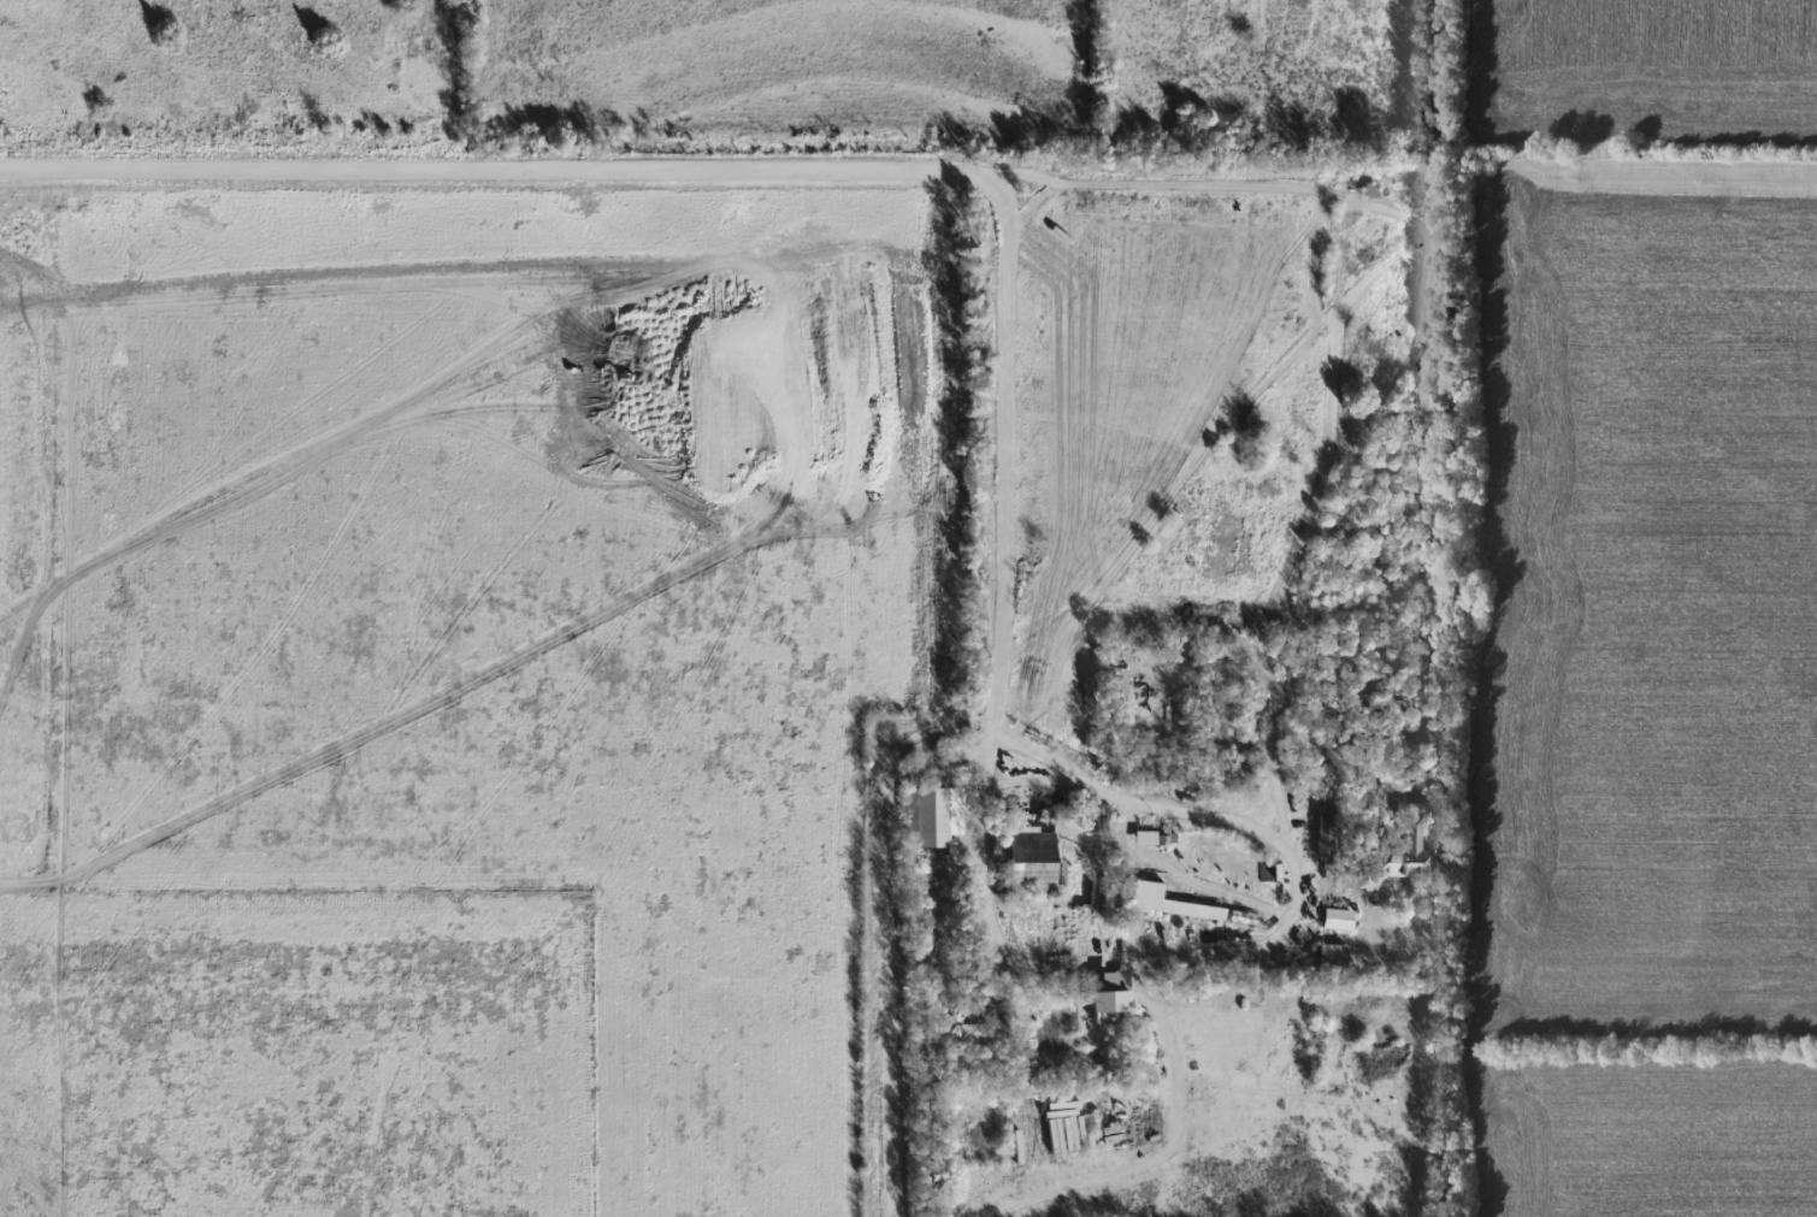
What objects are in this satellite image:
road: (477, 166)
building: (1374, 190)
road: (1002, 271)
road: (1186, 473)
road: (1440, 698)
road: (1274, 750)
road: (1084, 779)
building: (934, 819)
building: (1331, 833)
building: (1149, 837)
road: (1282, 847)
building: (1406, 849)
building: (1033, 859)
building: (1173, 903)
building: (1341, 918)
road: (881, 949)
road: (1037, 957)
building: (1335, 959)
building: (1114, 993)
road: (1152, 1140)

